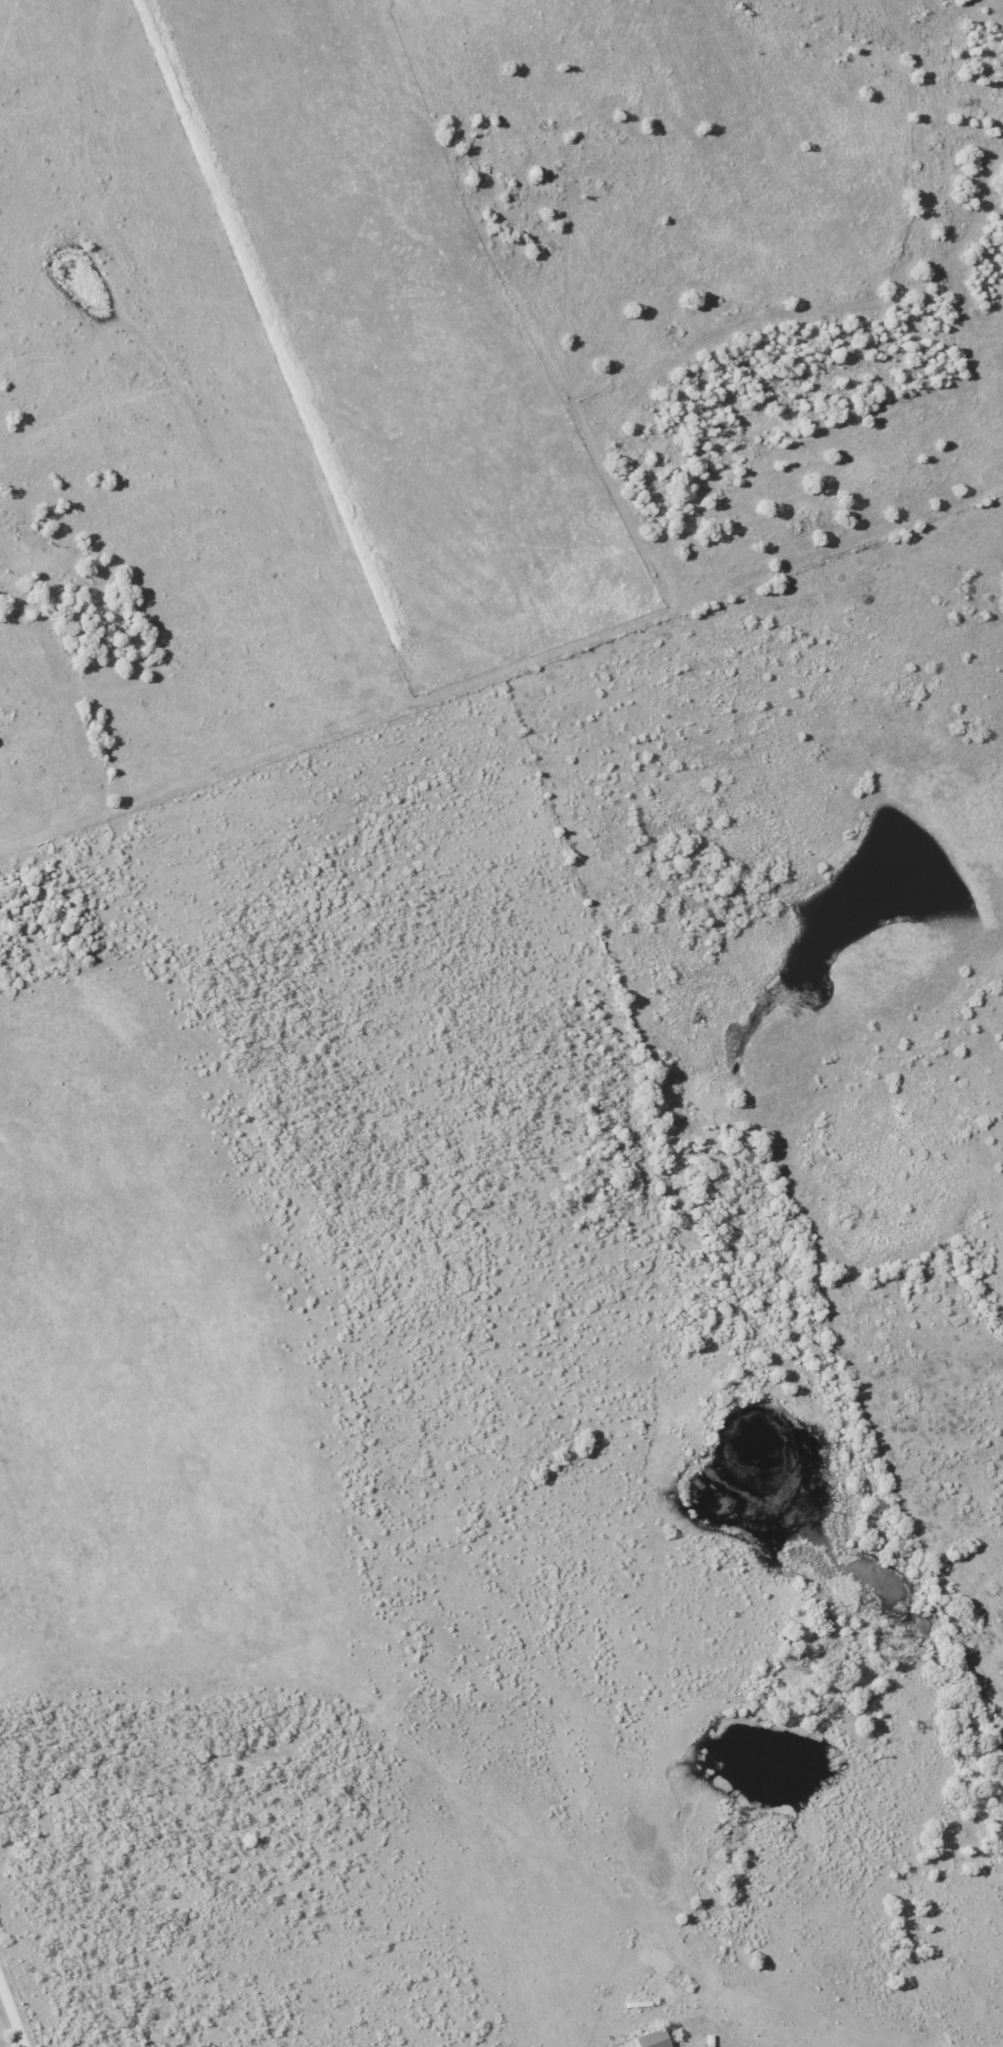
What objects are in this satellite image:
road: (11, 2014)
building: (649, 2039)

